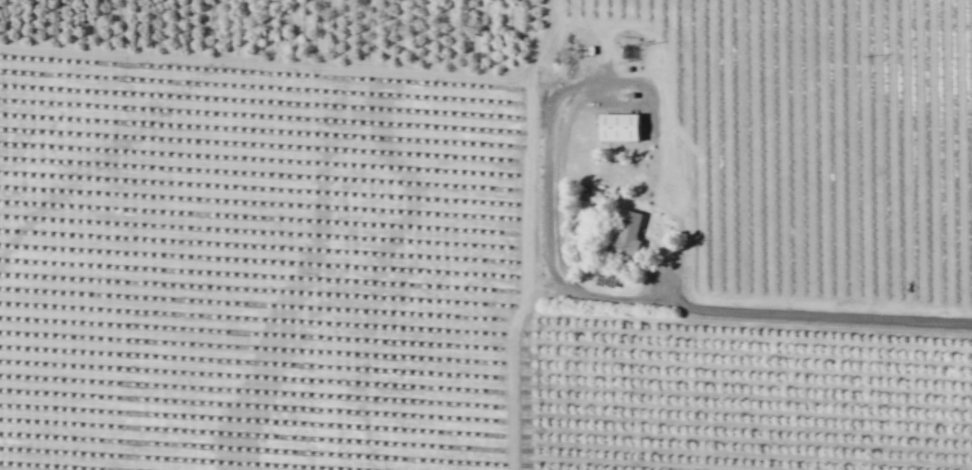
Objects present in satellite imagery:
road: (635, 78)
building: (618, 127)
road: (525, 233)
building: (627, 233)
road: (761, 312)

